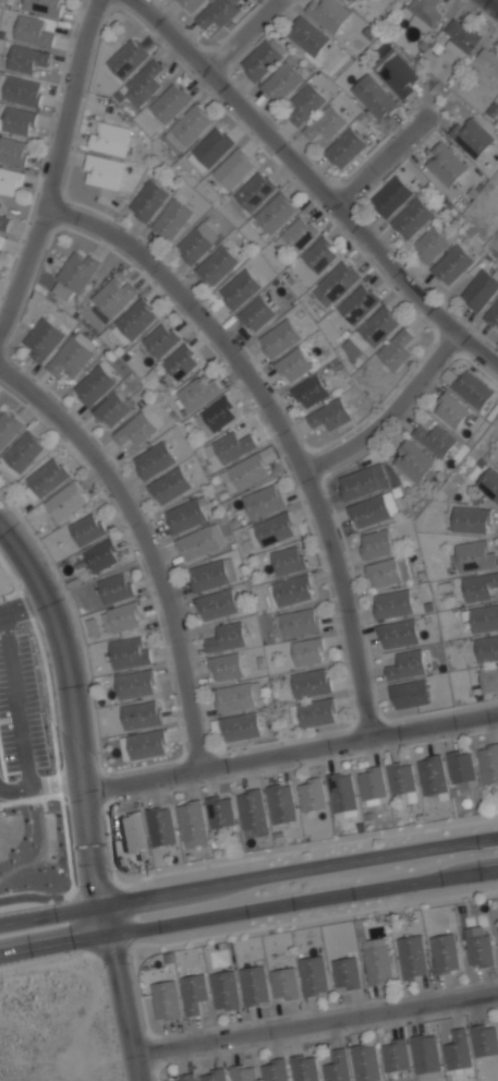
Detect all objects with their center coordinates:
building: (389, 0)
building: (404, 0)
building: (191, 4)
road: (491, 4)
building: (44, 7)
building: (218, 12)
building: (328, 14)
building: (424, 14)
building: (33, 31)
road: (240, 34)
building: (307, 37)
building: (461, 39)
building: (26, 58)
building: (126, 58)
building: (488, 60)
building: (260, 62)
building: (397, 73)
building: (142, 83)
building: (281, 83)
building: (20, 89)
building: (374, 97)
building: (170, 103)
building: (305, 104)
building: (17, 121)
building: (325, 124)
building: (187, 128)
building: (472, 136)
building: (110, 137)
building: (209, 149)
building: (344, 149)
building: (13, 151)
road: (376, 161)
building: (445, 165)
building: (232, 170)
road: (54, 171)
building: (102, 171)
building: (9, 181)
road: (313, 183)
building: (254, 193)
building: (391, 197)
building: (147, 201)
building: (1, 206)
building: (275, 214)
building: (172, 219)
building: (412, 219)
building: (4, 223)
building: (297, 235)
building: (1, 241)
building: (429, 245)
building: (193, 247)
building: (319, 255)
building: (217, 266)
building: (451, 266)
building: (75, 273)
building: (338, 281)
building: (239, 289)
building: (479, 290)
building: (113, 295)
building: (357, 305)
building: (256, 313)
building: (493, 315)
building: (135, 319)
building: (377, 325)
building: (278, 338)
building: (42, 339)
building: (159, 339)
building: (350, 349)
building: (396, 349)
building: (72, 356)
building: (180, 363)
building: (292, 364)
building: (94, 386)
building: (309, 391)
building: (472, 391)
building: (196, 394)
building: (112, 409)
building: (450, 412)
road: (387, 413)
building: (329, 415)
building: (215, 416)
road: (277, 420)
building: (496, 423)
building: (9, 427)
building: (135, 429)
building: (434, 440)
building: (228, 447)
building: (24, 452)
building: (153, 459)
building: (412, 460)
building: (247, 471)
building: (45, 478)
building: (363, 481)
building: (168, 485)
building: (488, 485)
building: (64, 501)
building: (263, 502)
building: (373, 509)
building: (186, 514)
building: (470, 519)
building: (87, 528)
building: (272, 529)
road: (141, 539)
building: (198, 542)
building: (375, 544)
building: (101, 554)
building: (473, 556)
building: (287, 560)
building: (387, 573)
building: (211, 574)
building: (478, 587)
building: (114, 588)
building: (292, 589)
building: (215, 603)
building: (391, 604)
road: (25, 605)
building: (125, 616)
building: (483, 618)
building: (299, 622)
building: (397, 633)
building: (226, 636)
building: (486, 648)
building: (307, 651)
building: (130, 652)
building: (405, 664)
building: (226, 666)
building: (489, 678)
building: (135, 683)
building: (311, 683)
building: (410, 694)
building: (236, 696)
road: (73, 704)
building: (315, 712)
building: (141, 714)
parking lot: (21, 716)
building: (239, 726)
road: (291, 741)
building: (147, 744)
building: (488, 764)
building: (460, 767)
building: (433, 776)
building: (401, 778)
building: (372, 783)
road: (44, 791)
building: (341, 793)
building: (312, 795)
building: (281, 803)
building: (220, 813)
building: (253, 813)
building: (193, 824)
building: (161, 826)
building: (133, 833)
road: (248, 878)
road: (248, 909)
building: (497, 925)
building: (479, 951)
building: (444, 953)
building: (411, 957)
building: (376, 960)
building: (345, 973)
building: (313, 975)
building: (284, 983)
building: (254, 985)
building: (224, 990)
road: (121, 992)
building: (193, 992)
building: (165, 999)
road: (318, 1024)
building: (485, 1042)
building: (457, 1050)
building: (394, 1056)
building: (426, 1057)
building: (365, 1062)
building: (337, 1067)
building: (304, 1068)
building: (275, 1069)
building: (243, 1072)
building: (214, 1073)
building: (182, 1077)

